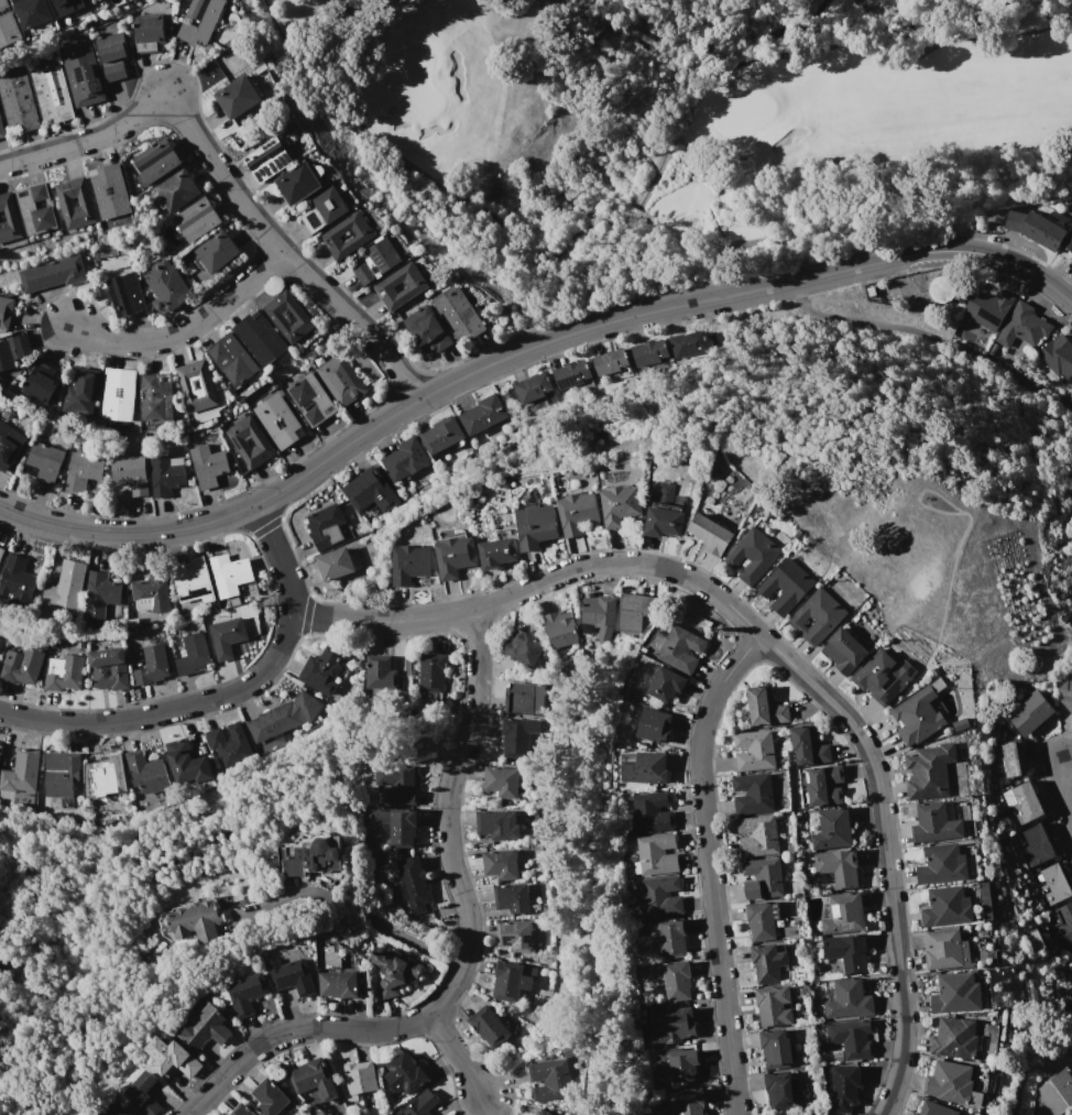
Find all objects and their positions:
building: (68, 7)
building: (32, 12)
building: (199, 20)
building: (8, 26)
building: (147, 32)
building: (113, 56)
building: (84, 77)
building: (51, 95)
building: (237, 97)
building: (17, 103)
park: (694, 125)
building: (1, 132)
building: (267, 161)
building: (155, 162)
road: (223, 179)
building: (297, 183)
building: (176, 189)
building: (110, 190)
building: (66, 201)
building: (36, 208)
building: (324, 209)
building: (9, 219)
building: (195, 219)
building: (1041, 230)
building: (364, 236)
building: (1069, 245)
building: (216, 252)
building: (1071, 260)
building: (376, 261)
building: (52, 274)
building: (165, 285)
building: (416, 286)
building: (941, 288)
building: (125, 295)
building: (987, 307)
building: (6, 311)
building: (457, 314)
building: (287, 316)
building: (1024, 326)
building: (426, 329)
road: (185, 330)
building: (260, 337)
building: (688, 343)
road: (524, 349)
building: (12, 350)
building: (648, 352)
building: (1058, 357)
building: (232, 360)
building: (612, 364)
building: (573, 375)
building: (339, 380)
building: (42, 382)
building: (195, 385)
building: (535, 392)
building: (80, 393)
building: (118, 394)
building: (310, 400)
building: (155, 402)
building: (482, 414)
building: (277, 420)
building: (441, 434)
building: (262, 442)
building: (9, 445)
building: (405, 459)
building: (44, 461)
building: (207, 466)
building: (83, 470)
building: (129, 472)
building: (165, 474)
park: (1064, 488)
building: (371, 492)
building: (620, 504)
building: (577, 513)
building: (664, 522)
building: (326, 525)
building: (537, 526)
building: (710, 534)
building: (497, 553)
building: (1, 554)
building: (455, 556)
building: (752, 556)
road: (278, 558)
building: (337, 562)
building: (409, 564)
building: (229, 573)
building: (15, 577)
building: (190, 582)
road: (534, 582)
building: (786, 584)
building: (65, 586)
building: (99, 591)
building: (150, 592)
building: (633, 612)
building: (600, 613)
building: (818, 616)
building: (560, 628)
building: (227, 636)
building: (0, 642)
building: (524, 647)
building: (681, 649)
building: (844, 649)
building: (193, 654)
building: (150, 665)
building: (20, 666)
building: (107, 668)
building: (321, 669)
building: (379, 670)
building: (64, 673)
building: (433, 673)
building: (883, 676)
building: (665, 684)
building: (1066, 693)
building: (525, 698)
building: (765, 707)
road: (166, 710)
building: (1031, 712)
building: (917, 715)
building: (283, 717)
building: (654, 725)
building: (516, 735)
building: (228, 744)
building: (808, 746)
building: (754, 750)
building: (1009, 761)
building: (186, 763)
building: (645, 767)
building: (929, 770)
building: (145, 773)
building: (20, 774)
building: (62, 774)
building: (107, 778)
building: (501, 781)
building: (396, 784)
building: (824, 786)
building: (753, 794)
road: (1065, 795)
building: (1022, 802)
building: (650, 811)
building: (497, 824)
building: (934, 824)
building: (397, 826)
building: (830, 829)
building: (757, 835)
building: (1037, 844)
road: (885, 852)
building: (310, 854)
building: (657, 854)
building: (500, 864)
road: (708, 864)
building: (947, 864)
building: (836, 868)
building: (762, 878)
building: (413, 884)
building: (1051, 884)
building: (660, 897)
building: (512, 898)
building: (947, 908)
road: (351, 909)
building: (841, 914)
building: (193, 922)
building: (768, 922)
building: (1062, 922)
building: (514, 936)
building: (669, 937)
building: (945, 950)
building: (846, 952)
building: (1070, 952)
road: (466, 958)
building: (769, 963)
building: (392, 969)
building: (291, 976)
building: (511, 980)
building: (677, 981)
building: (337, 984)
building: (244, 993)
building: (956, 993)
building: (847, 999)
building: (773, 1006)
building: (678, 1024)
building: (488, 1026)
building: (205, 1028)
building: (851, 1037)
building: (955, 1038)
building: (571, 1048)
building: (776, 1048)
building: (169, 1057)
road: (456, 1058)
building: (683, 1064)
building: (404, 1074)
building: (359, 1076)
building: (310, 1078)
building: (548, 1080)
building: (950, 1082)
building: (844, 1087)
building: (778, 1089)
building: (144, 1094)
building: (1053, 1094)
building: (269, 1097)
building: (688, 1102)
building: (419, 1104)
building: (116, 1108)
building: (936, 1108)
building: (241, 1109)
building: (542, 1113)
building: (915, 1114)

